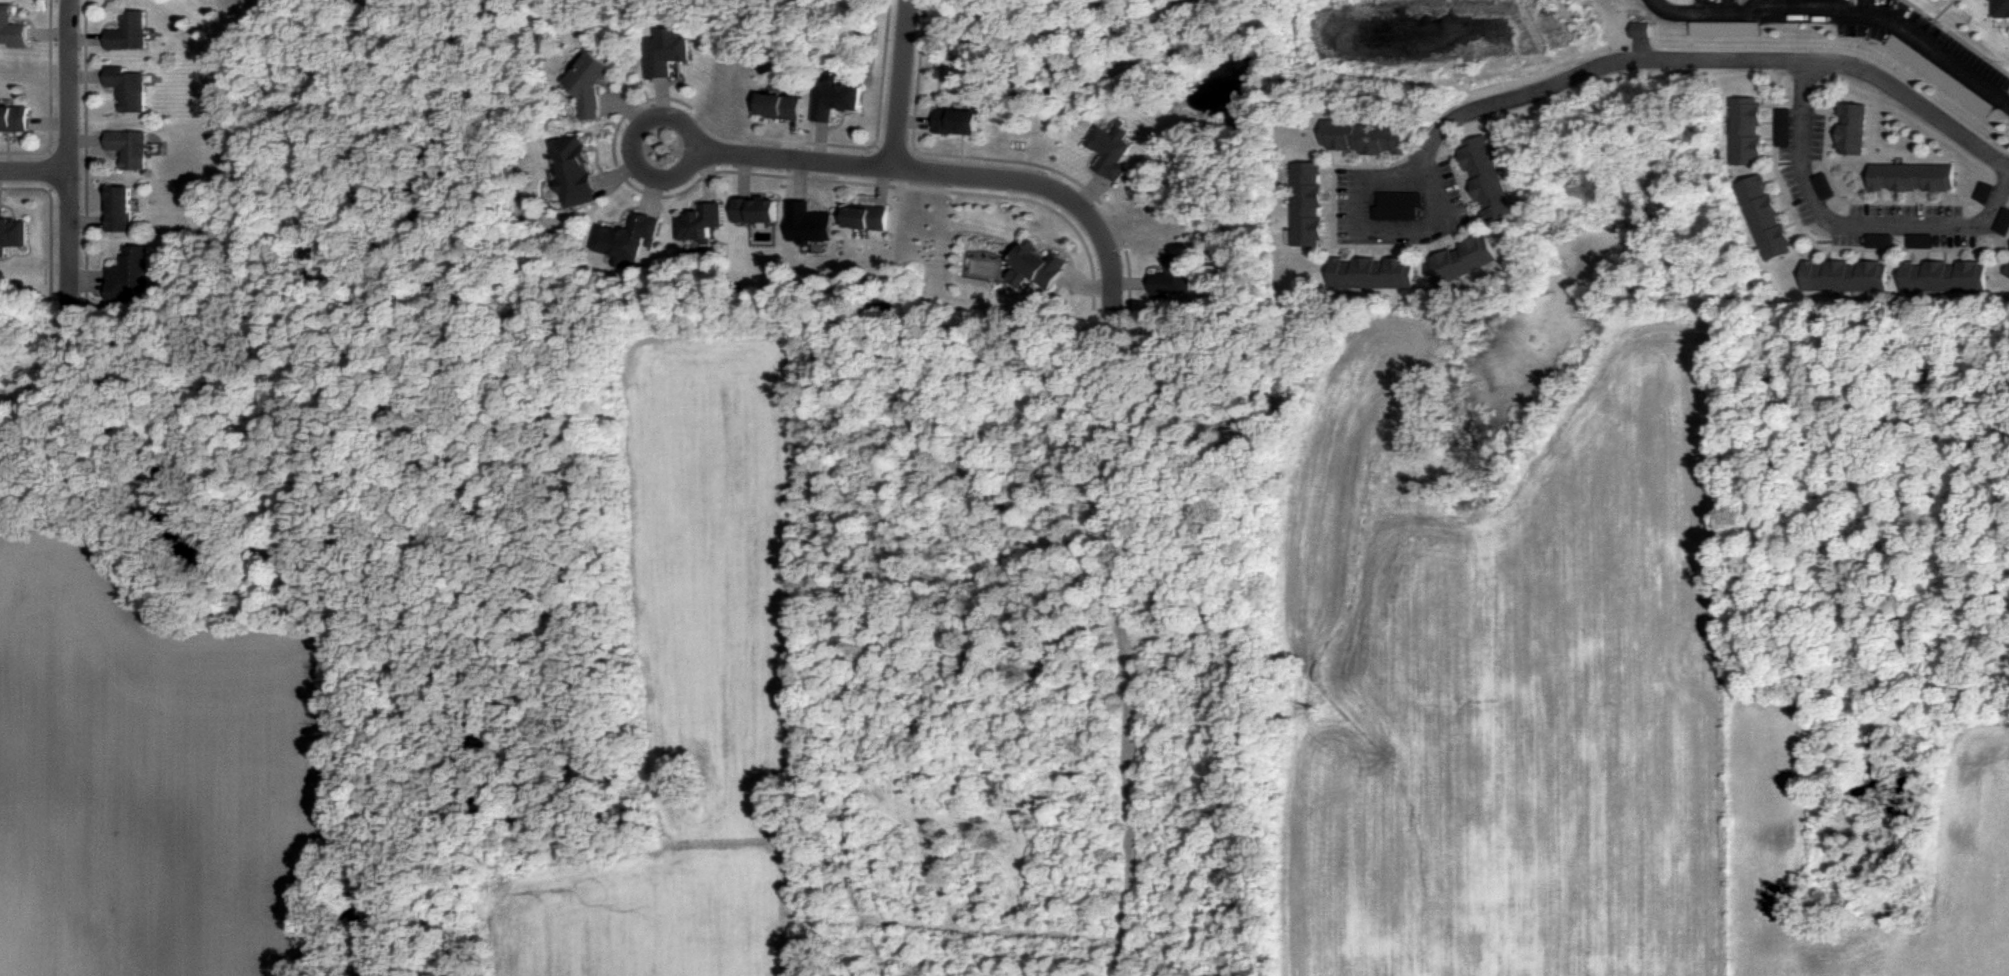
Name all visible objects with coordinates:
road: (1760, 6)
road: (1836, 7)
building: (1998, 7)
road: (1942, 10)
road: (1844, 15)
building: (1726, 28)
parking lot: (1727, 28)
building: (12, 30)
building: (1641, 30)
building: (131, 33)
road: (68, 37)
road: (1955, 37)
building: (666, 51)
road: (1708, 61)
parking lot: (1940, 74)
road: (88, 77)
road: (896, 83)
building: (592, 87)
building: (130, 89)
road: (49, 98)
building: (836, 98)
building: (781, 105)
road: (1769, 106)
road: (626, 109)
road: (1833, 113)
building: (13, 119)
road: (914, 121)
building: (958, 121)
road: (1770, 122)
road: (47, 125)
road: (1833, 126)
parking lot: (1785, 127)
building: (1852, 127)
building: (1748, 131)
road: (789, 137)
building: (1366, 137)
road: (1770, 138)
road: (821, 140)
road: (913, 140)
road: (6, 143)
road: (87, 143)
road: (1831, 145)
building: (130, 149)
building: (1110, 149)
road: (85, 153)
road: (896, 153)
road: (1457, 155)
road: (1770, 156)
road: (1334, 158)
road: (1349, 158)
road: (1398, 159)
road: (1383, 160)
road: (1365, 161)
road: (67, 168)
road: (1462, 170)
road: (52, 171)
road: (1329, 172)
building: (577, 173)
road: (945, 174)
road: (33, 175)
road: (619, 175)
road: (651, 176)
road: (746, 176)
road: (709, 177)
building: (1912, 177)
building: (1487, 178)
road: (1773, 179)
road: (881, 186)
road: (1468, 186)
parking lot: (1824, 186)
road: (1330, 188)
building: (1984, 191)
parking lot: (1984, 193)
road: (1780, 194)
road: (655, 196)
road: (1895, 196)
road: (1953, 196)
road: (649, 197)
road: (1881, 197)
road: (1913, 197)
road: (1928, 197)
parking lot: (1401, 199)
road: (1873, 201)
road: (1473, 202)
building: (1308, 204)
road: (2007, 204)
road: (1330, 205)
building: (1398, 205)
road: (1786, 209)
building: (122, 211)
building: (756, 211)
parking lot: (1397, 214)
building: (866, 217)
road: (1479, 217)
building: (1767, 219)
road: (1330, 221)
building: (2003, 221)
road: (48, 222)
road: (87, 223)
parking lot: (2003, 223)
road: (1793, 225)
road: (1848, 225)
building: (702, 226)
road: (1475, 231)
road: (1378, 233)
building: (14, 234)
road: (1330, 238)
road: (1460, 238)
building: (626, 239)
road: (1800, 239)
parking lot: (1880, 241)
parking lot: (1921, 241)
road: (1446, 246)
road: (1817, 246)
road: (1374, 247)
road: (2005, 248)
road: (1342, 252)
road: (1357, 252)
road: (1374, 252)
road: (1390, 252)
road: (1407, 252)
road: (1432, 252)
road: (1814, 252)
road: (1829, 255)
road: (1847, 255)
road: (1863, 255)
road: (1912, 255)
road: (1879, 256)
road: (1928, 256)
road: (1944, 256)
road: (1961, 256)
road: (1977, 256)
road: (1999, 260)
building: (1463, 261)
building: (1040, 264)
building: (2007, 272)
building: (1374, 273)
building: (1846, 276)
building: (1943, 276)
building: (1174, 277)
building: (131, 278)
road: (88, 284)
road: (1086, 284)
road: (1132, 285)
crop: (1506, 669)
crop: (697, 688)
crop: (153, 784)
crop: (1974, 823)

